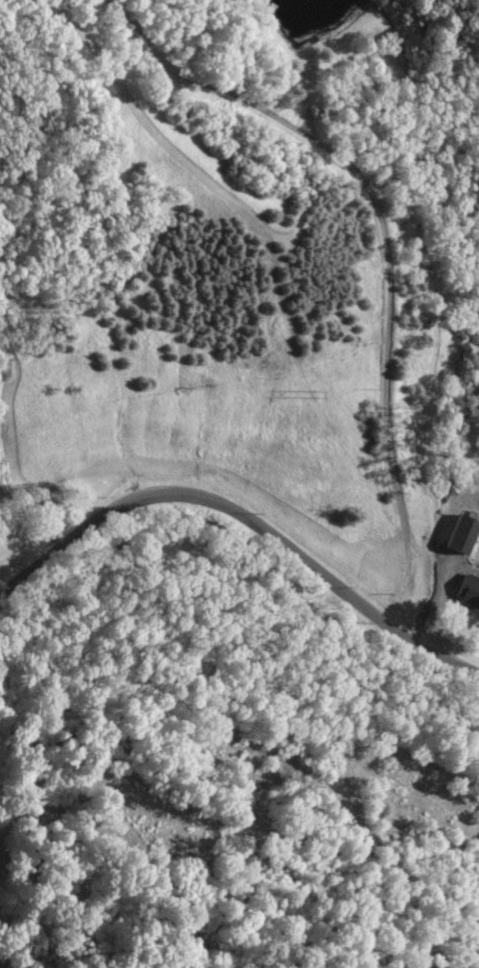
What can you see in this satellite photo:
road: (385, 244)
road: (245, 513)
building: (464, 533)
building: (469, 590)

